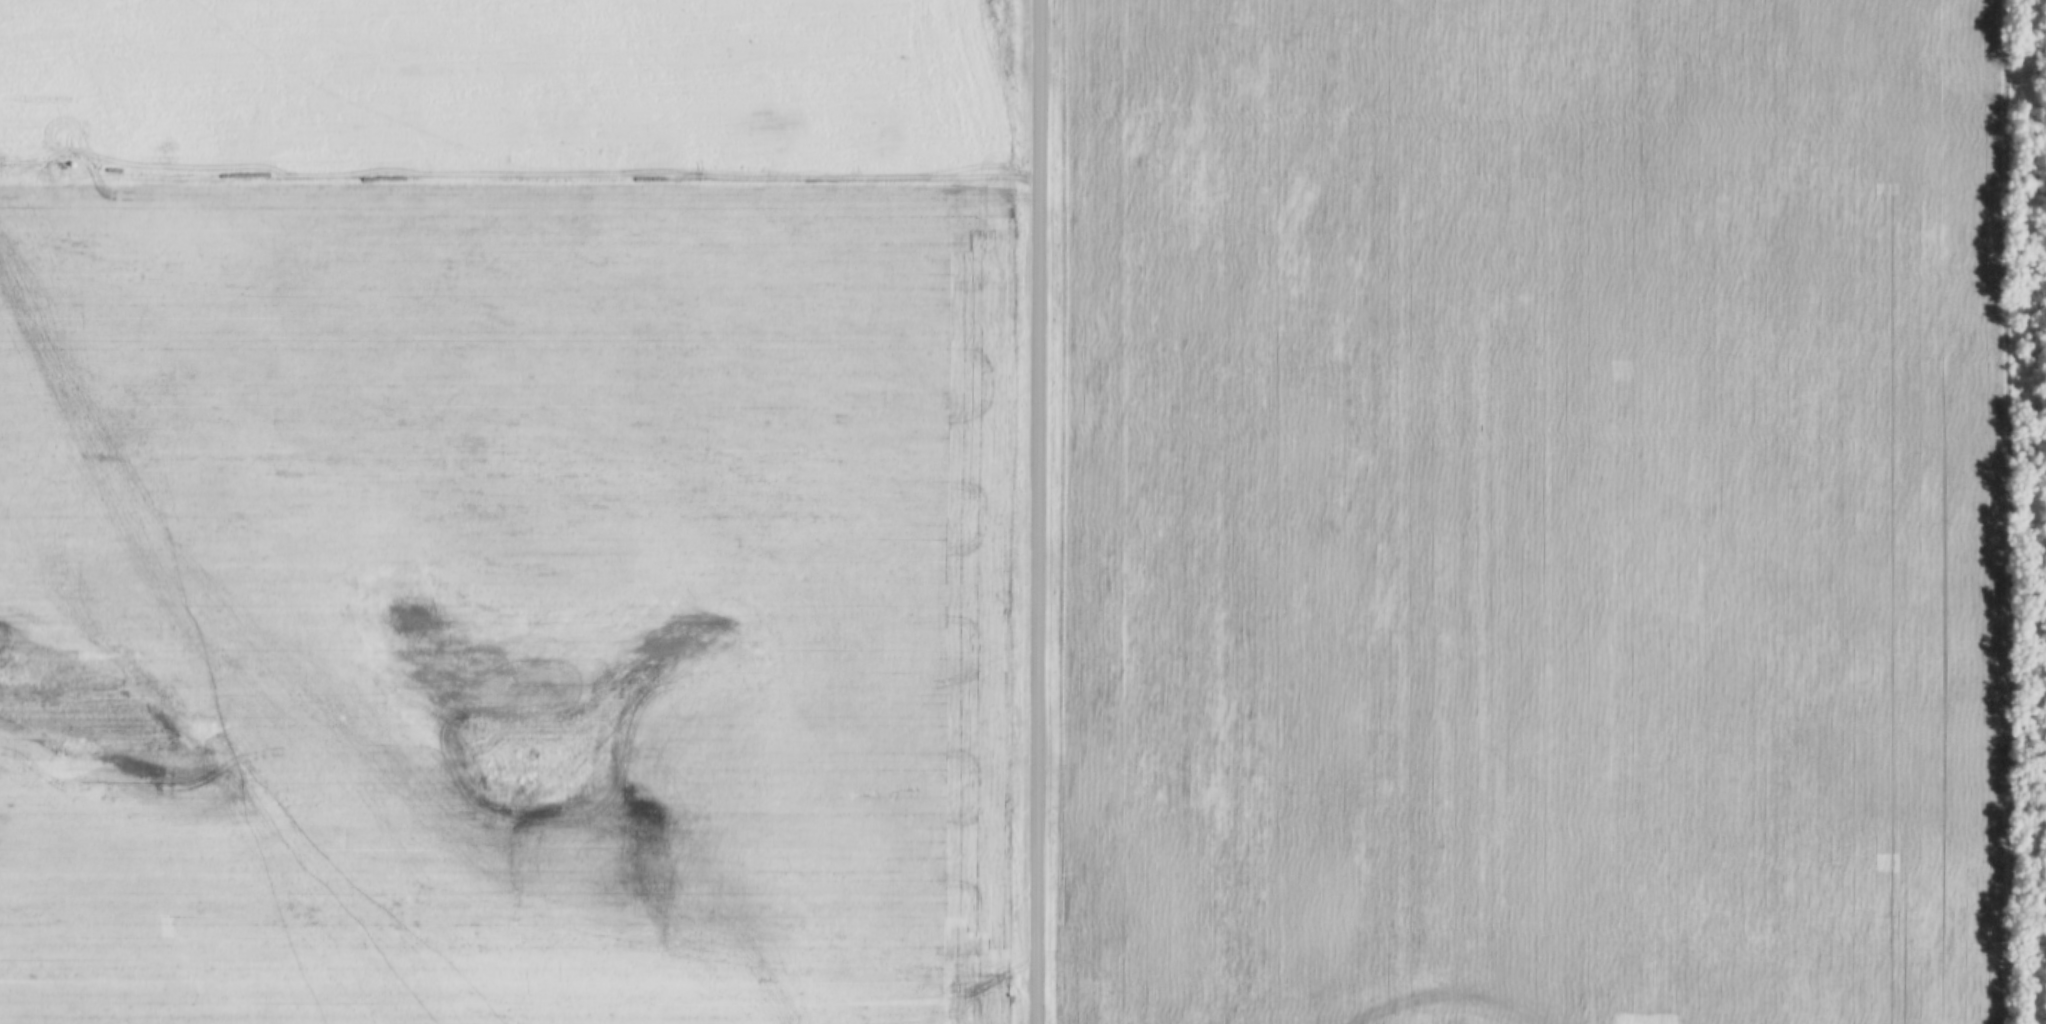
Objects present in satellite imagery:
road: (1038, 511)
road: (2041, 512)

